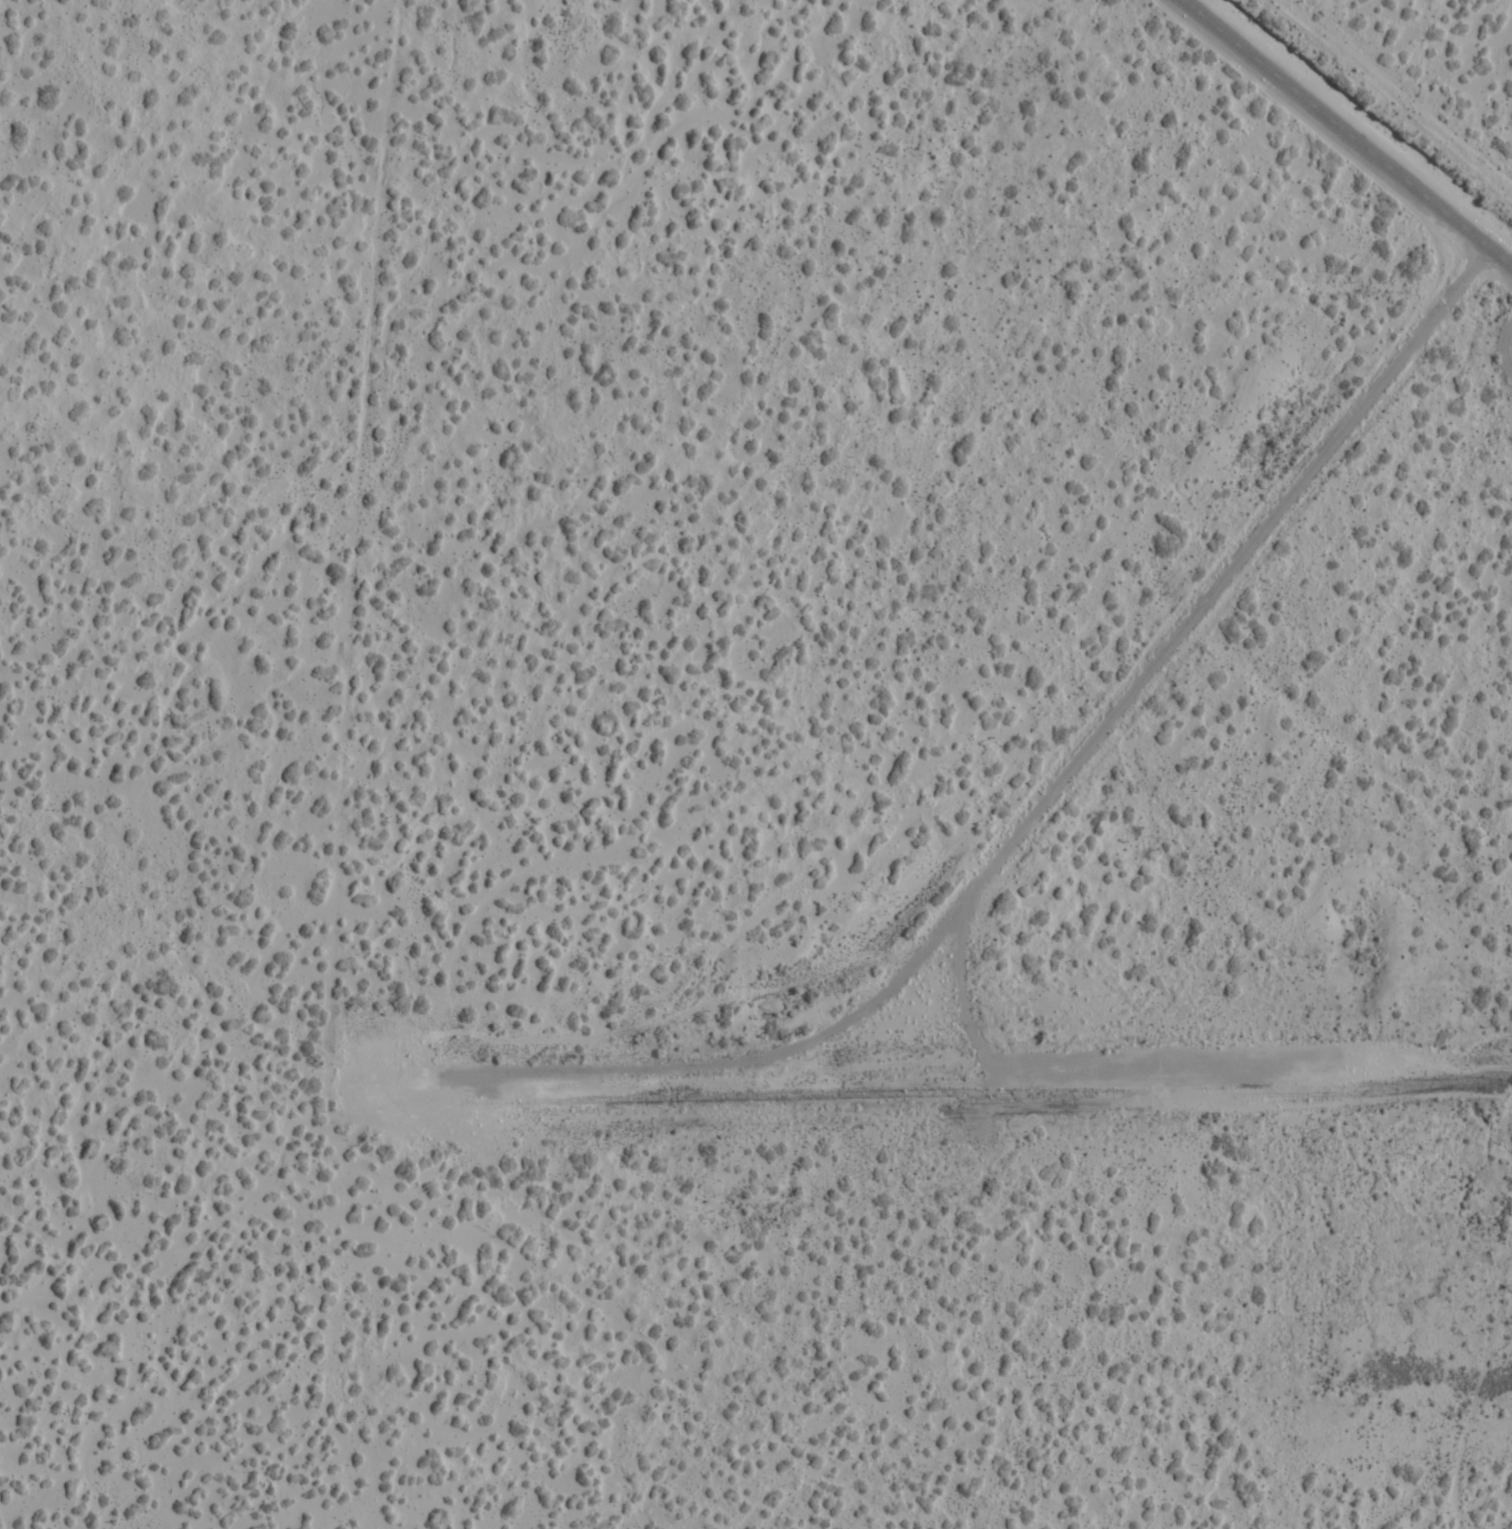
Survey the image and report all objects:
road: (1347, 133)
building: (631, 788)
road: (1049, 796)
road: (1068, 1067)
building: (1332, 1077)
railway: (1503, 1079)
building: (1215, 1098)

